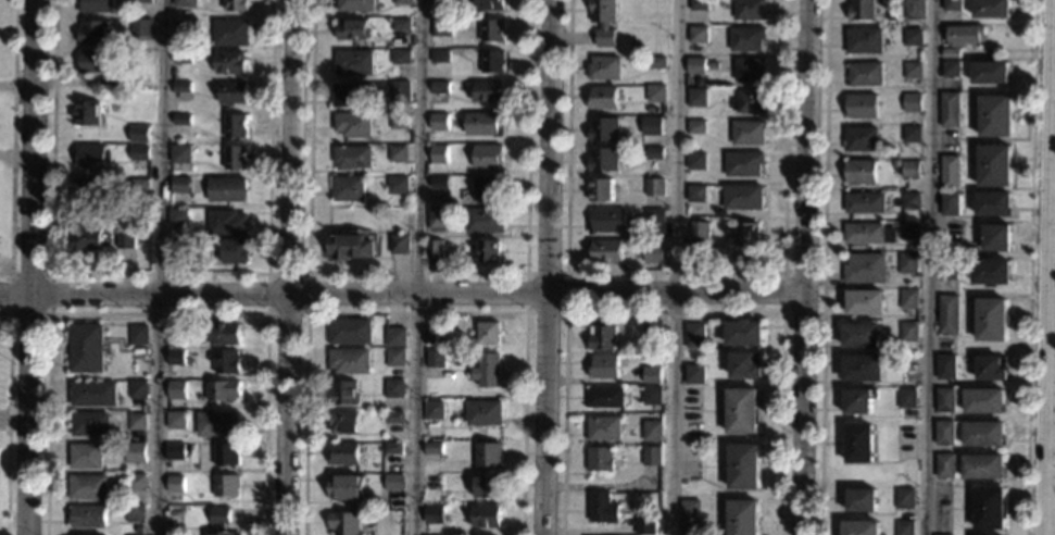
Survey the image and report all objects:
building: (141, 1)
building: (401, 2)
building: (441, 2)
building: (184, 3)
building: (699, 4)
building: (234, 5)
building: (354, 5)
building: (490, 5)
building: (952, 5)
building: (95, 7)
building: (913, 9)
building: (991, 9)
building: (750, 10)
building: (863, 10)
building: (604, 21)
building: (400, 24)
building: (140, 27)
building: (441, 27)
building: (181, 29)
building: (352, 29)
building: (492, 30)
building: (92, 33)
building: (230, 33)
building: (698, 35)
building: (964, 35)
building: (913, 37)
building: (746, 39)
building: (865, 41)
building: (950, 53)
building: (399, 57)
building: (439, 57)
building: (181, 59)
building: (96, 62)
building: (229, 62)
building: (353, 62)
building: (491, 62)
building: (656, 62)
building: (695, 65)
building: (713, 65)
building: (604, 69)
building: (951, 69)
building: (750, 70)
building: (913, 70)
building: (990, 73)
building: (865, 74)
building: (112, 83)
road: (7, 86)
building: (439, 87)
building: (181, 89)
building: (492, 89)
building: (398, 90)
building: (233, 94)
building: (656, 94)
building: (348, 95)
building: (603, 98)
building: (698, 98)
building: (749, 101)
building: (912, 102)
building: (862, 107)
building: (949, 110)
building: (87, 113)
building: (995, 115)
building: (181, 121)
building: (399, 121)
building: (438, 122)
building: (654, 123)
building: (353, 124)
building: (481, 124)
building: (236, 126)
building: (696, 127)
building: (602, 130)
building: (749, 133)
building: (138, 134)
building: (912, 134)
building: (862, 139)
road: (12, 141)
building: (139, 153)
building: (180, 153)
building: (397, 153)
building: (654, 153)
building: (438, 154)
road: (5, 155)
building: (91, 157)
building: (487, 157)
building: (236, 158)
building: (352, 158)
building: (603, 160)
building: (696, 161)
building: (743, 164)
building: (896, 164)
building: (994, 166)
building: (910, 169)
building: (861, 172)
building: (949, 172)
building: (439, 183)
building: (180, 185)
building: (139, 186)
building: (397, 186)
building: (654, 187)
building: (487, 188)
building: (349, 189)
building: (89, 190)
building: (227, 190)
building: (601, 190)
building: (696, 194)
building: (743, 197)
building: (910, 201)
building: (865, 203)
building: (950, 203)
building: (993, 204)
building: (655, 216)
building: (178, 219)
building: (438, 219)
building: (606, 220)
building: (483, 221)
building: (227, 222)
building: (699, 229)
building: (909, 231)
building: (865, 234)
building: (746, 235)
building: (86, 238)
building: (996, 238)
building: (125, 239)
building: (399, 245)
building: (350, 246)
building: (179, 248)
building: (434, 249)
building: (605, 250)
building: (235, 251)
building: (489, 251)
building: (652, 254)
building: (907, 263)
road: (30, 266)
road: (161, 266)
road: (544, 266)
road: (673, 266)
road: (289, 267)
road: (416, 267)
road: (803, 267)
road: (824, 267)
road: (929, 267)
road: (1030, 267)
road: (1050, 267)
road: (4, 269)
building: (866, 269)
building: (946, 269)
road: (673, 272)
building: (991, 272)
road: (307, 273)
road: (416, 273)
road: (565, 273)
road: (158, 274)
road: (782, 290)
road: (400, 297)
building: (908, 299)
building: (866, 302)
road: (416, 311)
road: (673, 311)
road: (159, 313)
road: (49, 314)
building: (949, 314)
building: (991, 320)
building: (653, 329)
building: (350, 332)
building: (909, 332)
building: (488, 333)
building: (743, 333)
building: (226, 334)
building: (138, 335)
building: (861, 335)
building: (429, 336)
building: (694, 336)
building: (395, 337)
building: (601, 337)
building: (174, 338)
building: (86, 348)
building: (395, 357)
building: (177, 358)
building: (436, 359)
building: (350, 360)
building: (227, 362)
building: (908, 364)
building: (744, 365)
building: (603, 366)
building: (945, 366)
building: (863, 369)
building: (990, 369)
building: (487, 370)
building: (694, 374)
building: (652, 375)
building: (394, 388)
building: (138, 389)
building: (176, 390)
building: (224, 391)
building: (92, 394)
building: (344, 394)
building: (652, 395)
building: (605, 397)
building: (907, 398)
building: (945, 400)
building: (858, 401)
building: (984, 401)
building: (434, 410)
building: (741, 411)
building: (483, 413)
building: (393, 418)
road: (8, 419)
road: (3, 421)
building: (136, 421)
building: (176, 421)
building: (344, 422)
building: (90, 424)
building: (218, 424)
building: (603, 428)
building: (653, 431)
building: (944, 433)
building: (983, 434)
building: (859, 444)
building: (393, 448)
building: (434, 451)
building: (135, 452)
building: (175, 452)
building: (344, 453)
building: (226, 455)
building: (489, 455)
building: (86, 456)
building: (652, 456)
building: (601, 459)
building: (945, 465)
building: (743, 466)
building: (983, 466)
building: (379, 477)
building: (431, 482)
building: (136, 483)
building: (394, 483)
building: (174, 484)
building: (226, 485)
building: (87, 487)
building: (347, 487)
building: (487, 487)
building: (904, 498)
building: (862, 500)
building: (989, 508)
building: (603, 509)
building: (135, 513)
building: (434, 514)
building: (87, 517)
building: (486, 517)
building: (690, 518)
building: (743, 518)
building: (219, 521)
building: (344, 524)
building: (645, 527)
building: (861, 527)
building: (903, 527)
building: (139, 530)
building: (950, 534)

